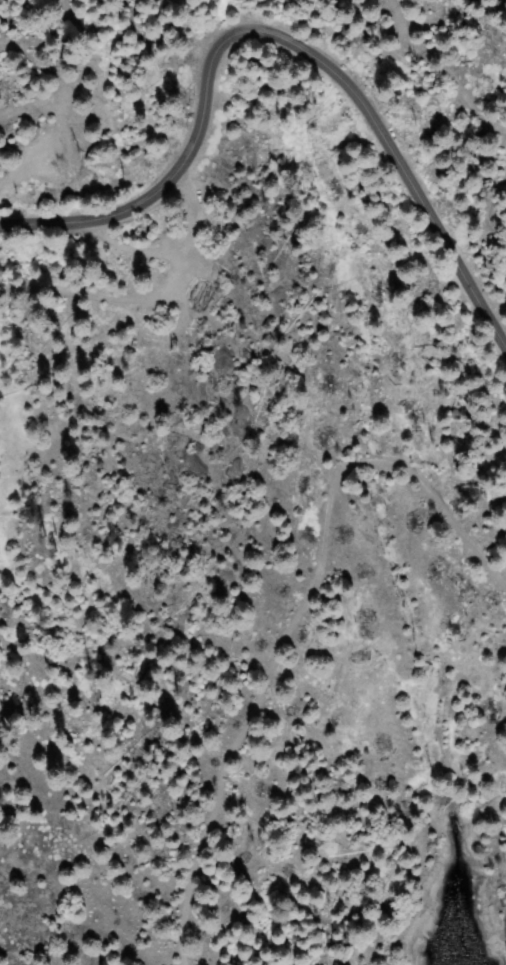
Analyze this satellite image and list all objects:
road: (282, 36)
road: (297, 613)

